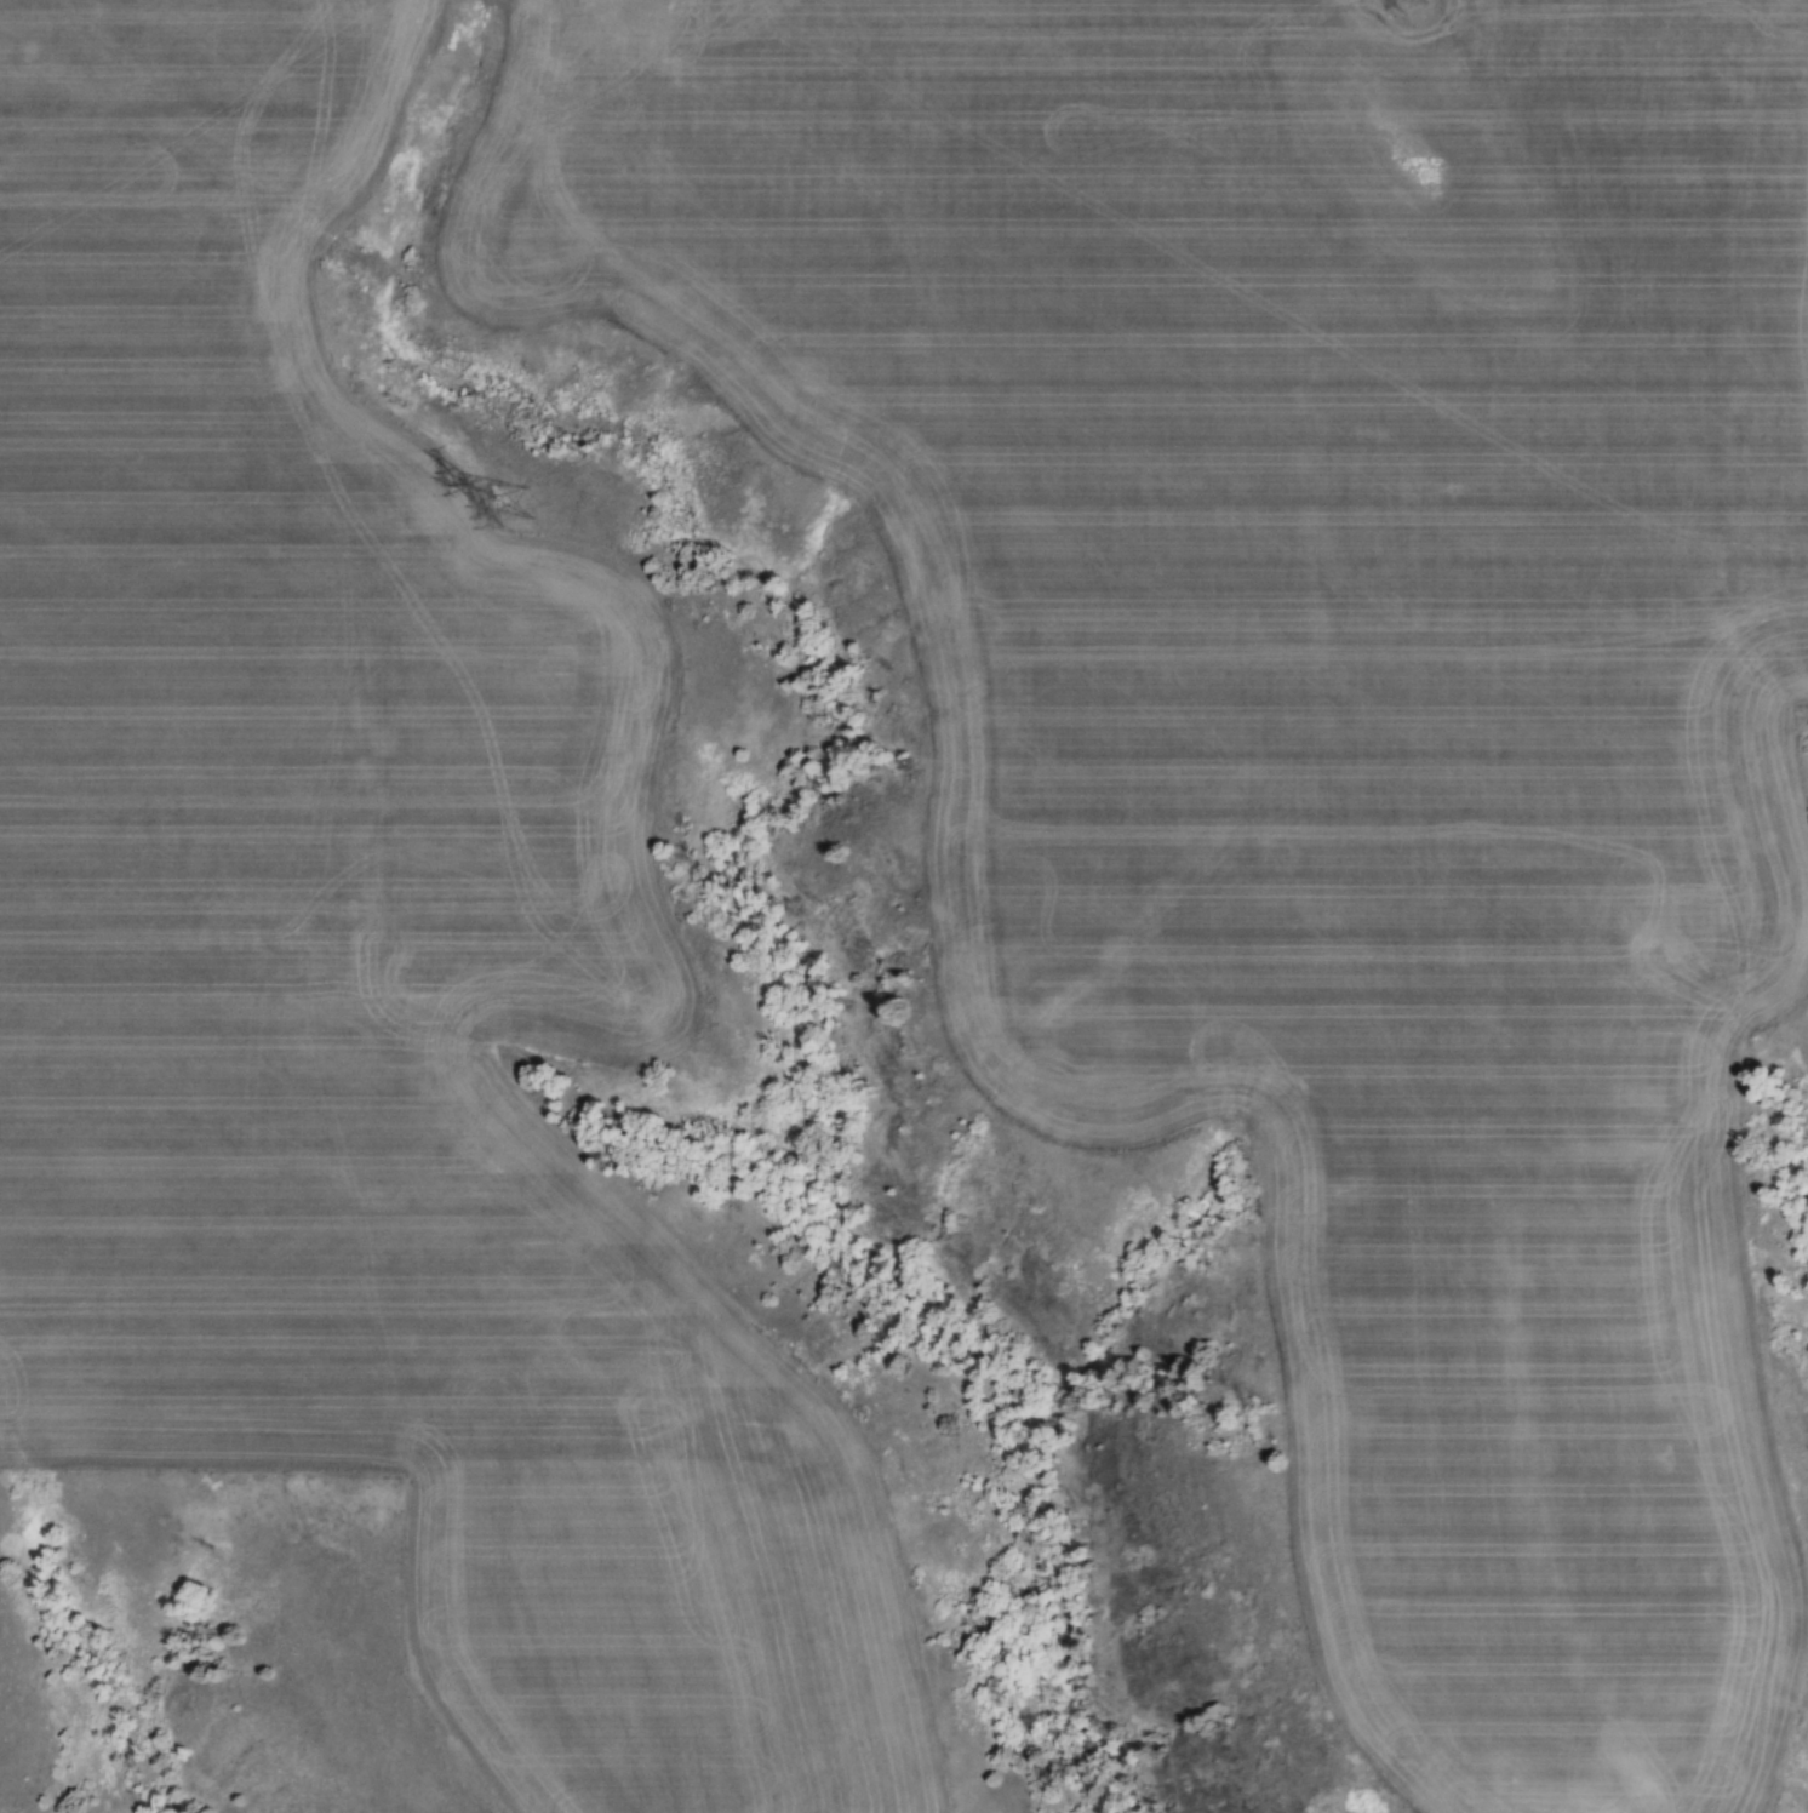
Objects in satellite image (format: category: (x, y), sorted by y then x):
power tower: (511, 509)

